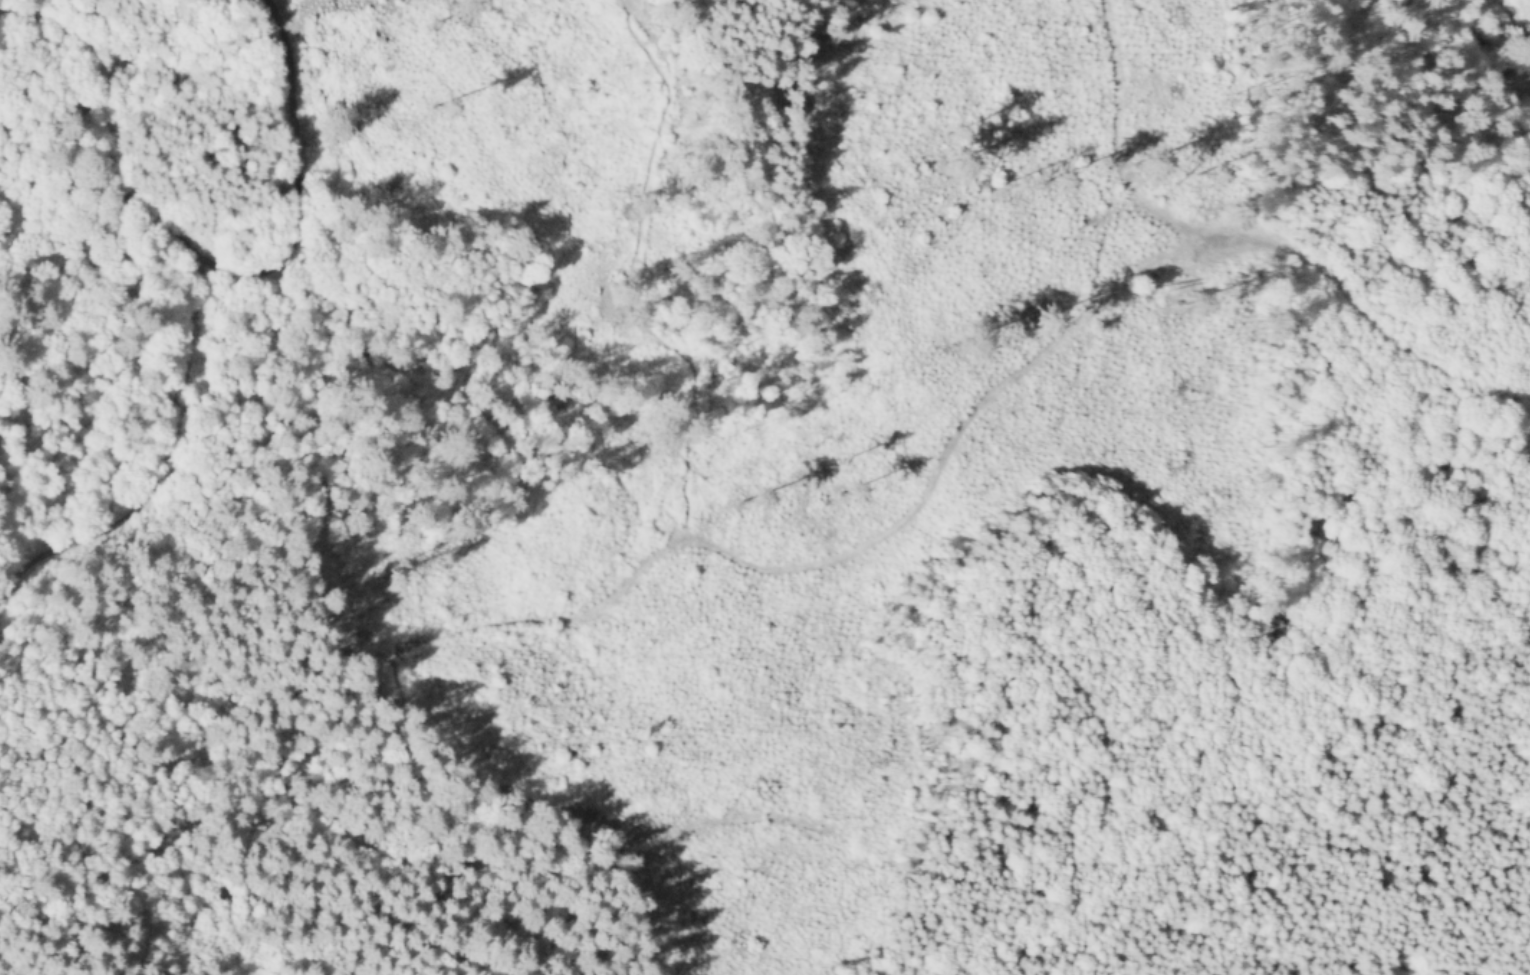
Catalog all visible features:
road: (1369, 324)

